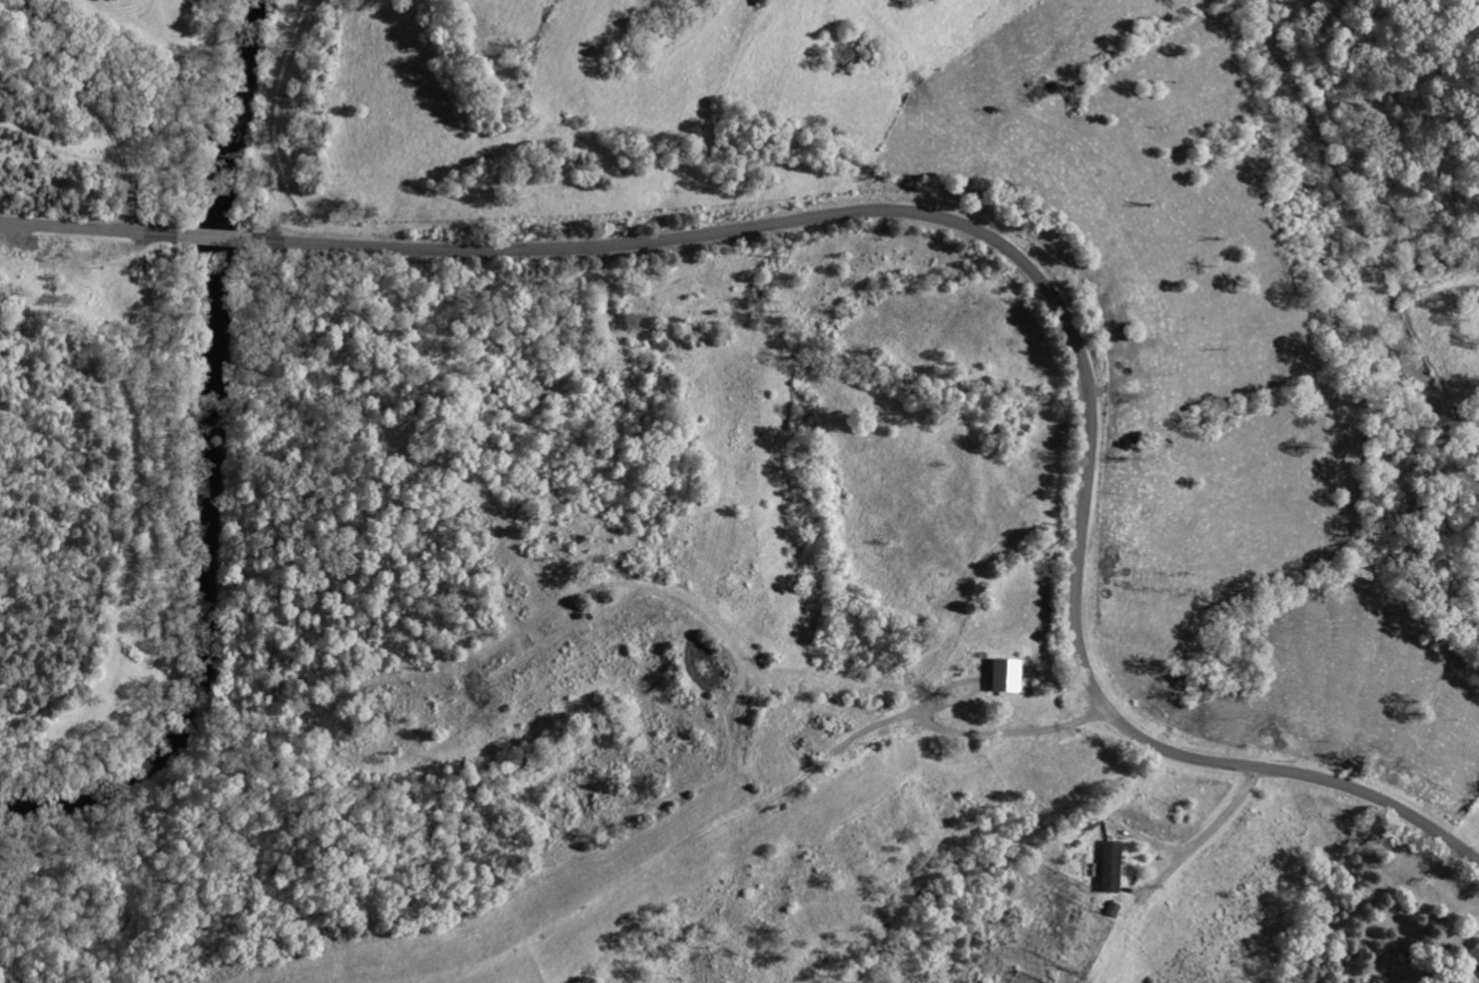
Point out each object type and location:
road: (957, 221)
river: (208, 459)
building: (1006, 675)
road: (1012, 733)
road: (1204, 835)
building: (1108, 866)
building: (1110, 909)
building: (1474, 953)

